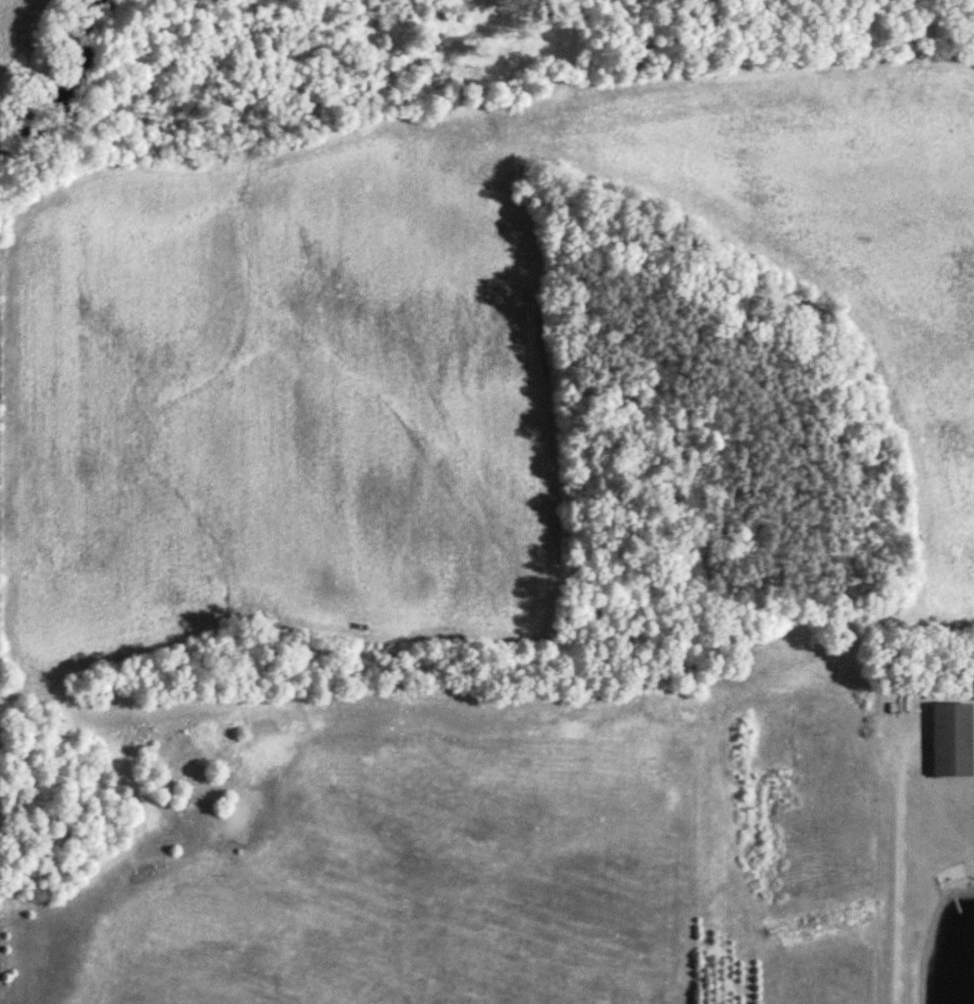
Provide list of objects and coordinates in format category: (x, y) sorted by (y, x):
river: (67, 88)
building: (949, 743)
road: (899, 864)

